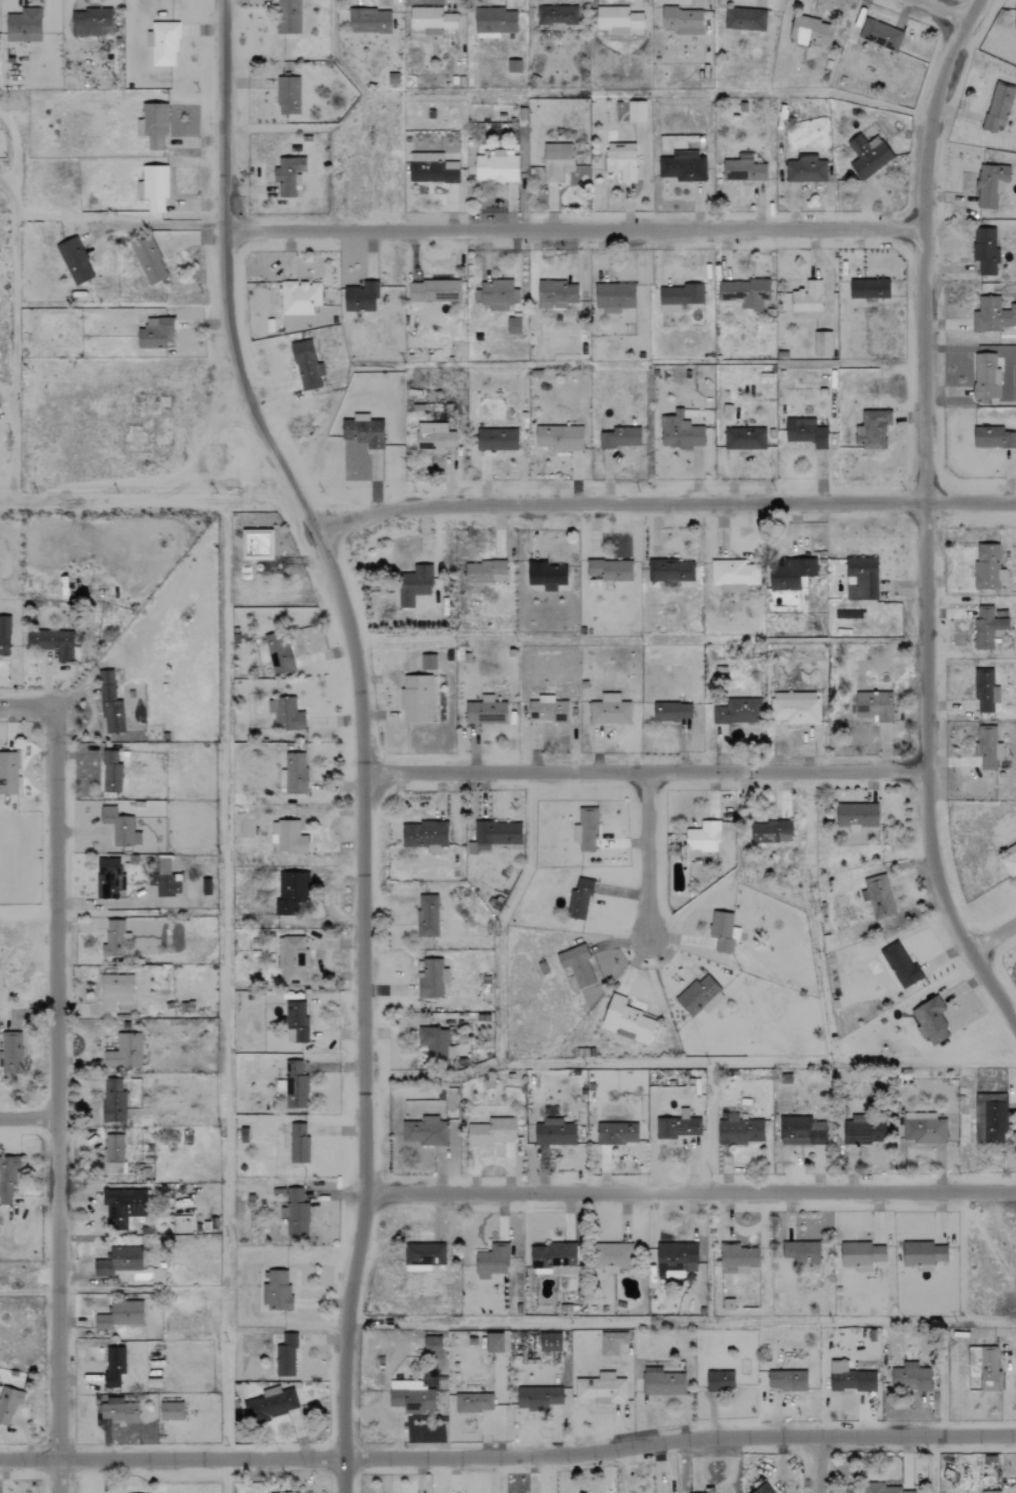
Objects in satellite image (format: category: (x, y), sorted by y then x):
road: (934, 9)
building: (557, 16)
building: (288, 17)
building: (1015, 18)
building: (618, 19)
building: (745, 19)
building: (432, 20)
building: (370, 21)
building: (682, 21)
building: (494, 22)
building: (23, 26)
building: (811, 32)
building: (881, 34)
building: (163, 44)
building: (514, 66)
building: (288, 96)
building: (999, 107)
building: (636, 111)
building: (153, 125)
building: (868, 156)
building: (557, 161)
building: (621, 161)
building: (497, 167)
building: (683, 167)
building: (432, 169)
building: (743, 170)
building: (806, 170)
building: (289, 176)
building: (991, 184)
building: (153, 188)
road: (571, 228)
building: (985, 250)
building: (74, 261)
building: (149, 261)
building: (869, 288)
building: (434, 291)
building: (745, 293)
building: (556, 294)
building: (299, 297)
building: (361, 297)
building: (614, 297)
building: (679, 297)
building: (498, 298)
building: (807, 301)
road: (15, 304)
building: (993, 315)
building: (514, 326)
building: (155, 333)
building: (822, 344)
building: (306, 366)
building: (986, 377)
building: (873, 429)
building: (363, 431)
building: (680, 432)
building: (806, 432)
building: (434, 437)
building: (560, 438)
building: (620, 438)
building: (993, 438)
building: (745, 439)
building: (497, 440)
road: (150, 500)
road: (666, 500)
road: (921, 518)
building: (257, 545)
building: (988, 567)
building: (671, 571)
building: (485, 572)
building: (546, 575)
building: (734, 575)
building: (861, 579)
building: (414, 585)
building: (988, 628)
building: (4, 636)
building: (53, 644)
building: (278, 653)
building: (428, 662)
building: (985, 691)
building: (416, 699)
road: (22, 705)
building: (110, 705)
building: (874, 706)
building: (795, 708)
building: (548, 710)
building: (610, 710)
building: (486, 712)
building: (672, 712)
building: (738, 712)
building: (287, 716)
road: (360, 733)
building: (988, 747)
road: (643, 767)
building: (8, 772)
building: (111, 772)
building: (295, 773)
building: (857, 815)
building: (120, 827)
building: (586, 829)
building: (771, 831)
building: (425, 835)
building: (494, 835)
building: (288, 837)
building: (702, 838)
road: (646, 853)
building: (1010, 864)
building: (166, 878)
building: (110, 879)
building: (291, 891)
building: (878, 896)
building: (579, 900)
building: (427, 916)
building: (723, 931)
building: (114, 938)
road: (995, 945)
building: (292, 959)
building: (900, 964)
building: (577, 965)
building: (432, 978)
building: (115, 991)
building: (700, 996)
building: (627, 1019)
building: (931, 1020)
building: (296, 1021)
building: (436, 1043)
building: (124, 1051)
building: (11, 1053)
road: (689, 1064)
building: (113, 1100)
road: (55, 1101)
road: (27, 1118)
building: (991, 1118)
building: (677, 1126)
building: (924, 1128)
building: (739, 1130)
building: (426, 1131)
building: (801, 1131)
building: (493, 1132)
building: (555, 1132)
building: (863, 1132)
building: (617, 1133)
building: (298, 1143)
building: (113, 1148)
building: (8, 1180)
road: (690, 1193)
building: (123, 1206)
building: (295, 1212)
building: (802, 1252)
building: (553, 1254)
building: (861, 1255)
building: (923, 1255)
building: (423, 1256)
building: (677, 1256)
building: (614, 1257)
building: (738, 1257)
building: (119, 1261)
building: (491, 1261)
building: (563, 1270)
road: (28, 1291)
building: (276, 1291)
building: (728, 1304)
building: (120, 1315)
road: (680, 1323)
building: (494, 1342)
building: (550, 1342)
building: (611, 1342)
building: (433, 1345)
building: (285, 1356)
building: (113, 1366)
building: (986, 1366)
building: (910, 1377)
building: (850, 1378)
building: (720, 1380)
building: (787, 1380)
building: (662, 1383)
building: (601, 1388)
building: (413, 1398)
building: (538, 1398)
building: (473, 1402)
building: (8, 1403)
building: (270, 1404)
building: (118, 1410)
building: (171, 1411)
road: (508, 1456)
road: (818, 1464)
road: (933, 1464)
road: (225, 1475)
building: (762, 1489)
building: (883, 1490)
building: (286, 1492)
building: (992, 1492)

